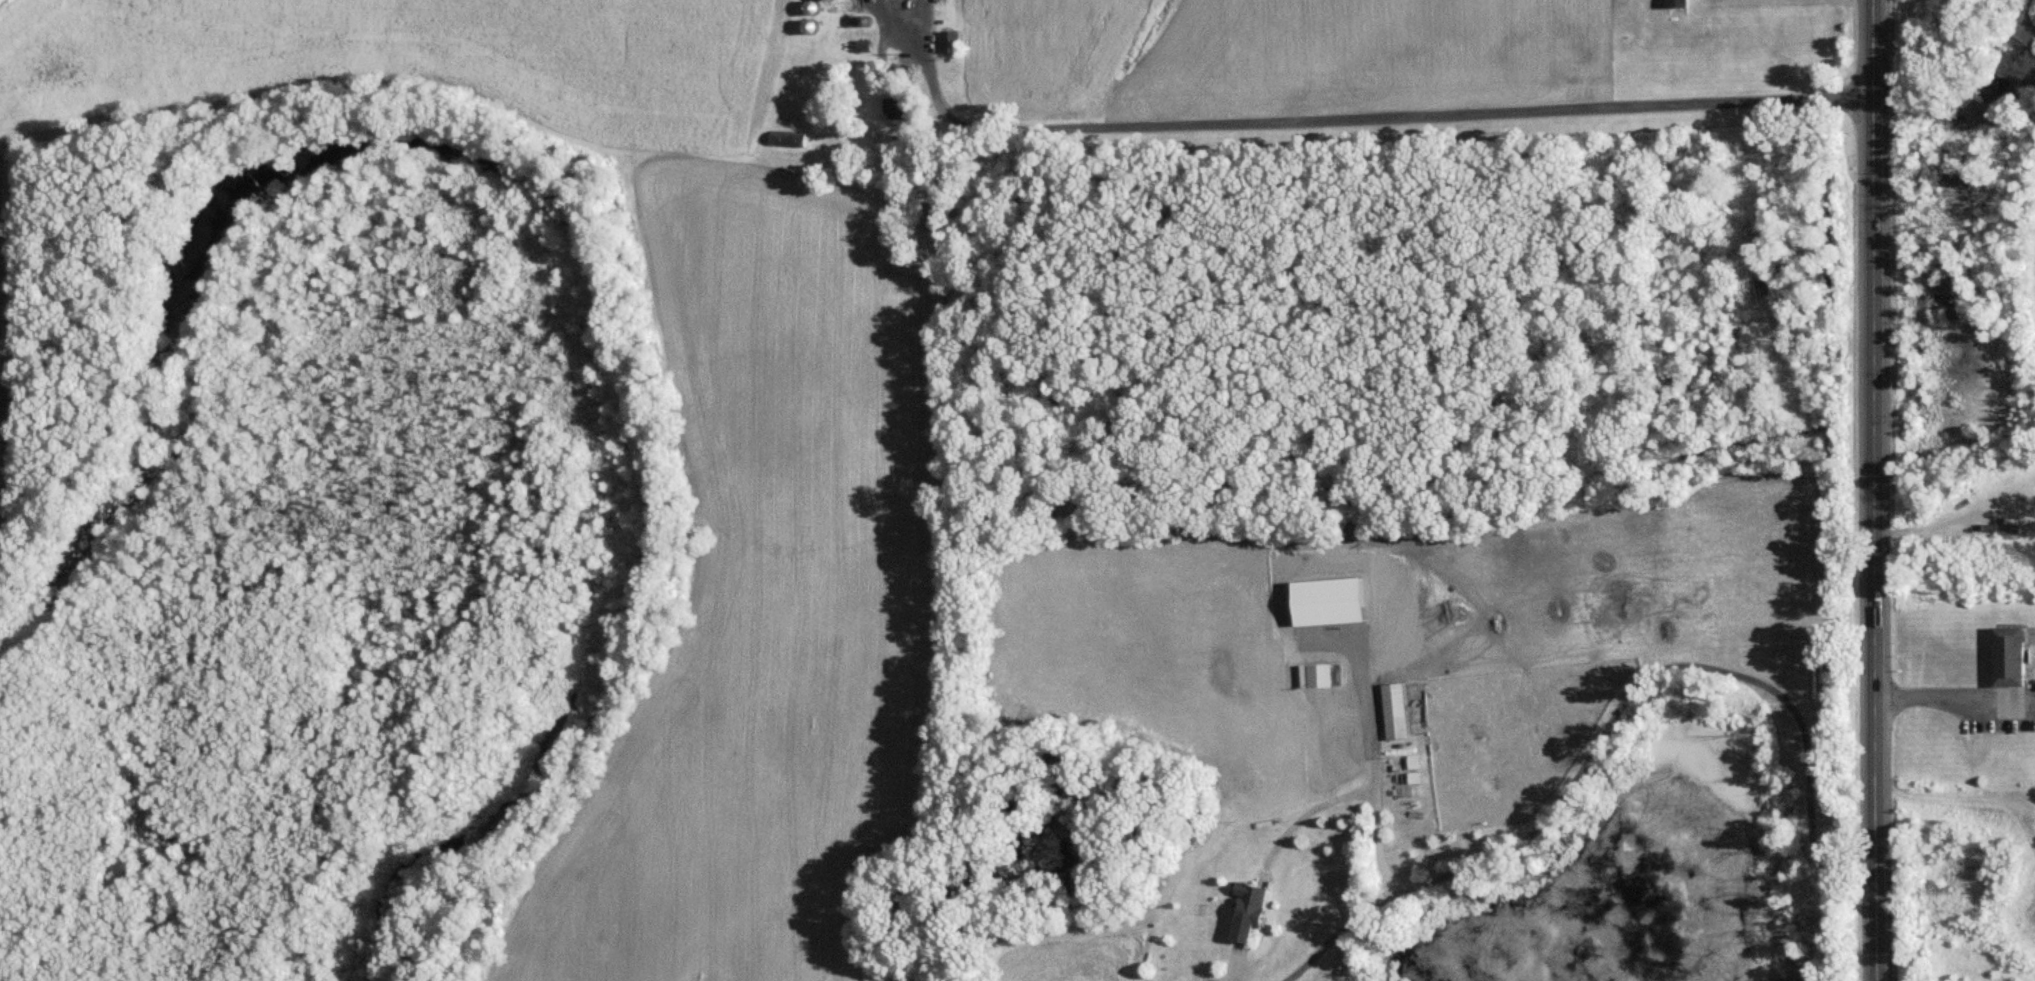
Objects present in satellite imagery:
building: (1680, 3)
building: (814, 7)
building: (810, 26)
building: (950, 41)
building: (865, 45)
building: (905, 107)
road: (1379, 110)
building: (937, 215)
road: (1881, 490)
building: (2012, 656)
road: (1656, 671)
building: (1315, 674)
building: (1395, 709)
road: (1958, 711)
road: (1373, 780)
building: (1249, 908)
road: (1334, 937)

